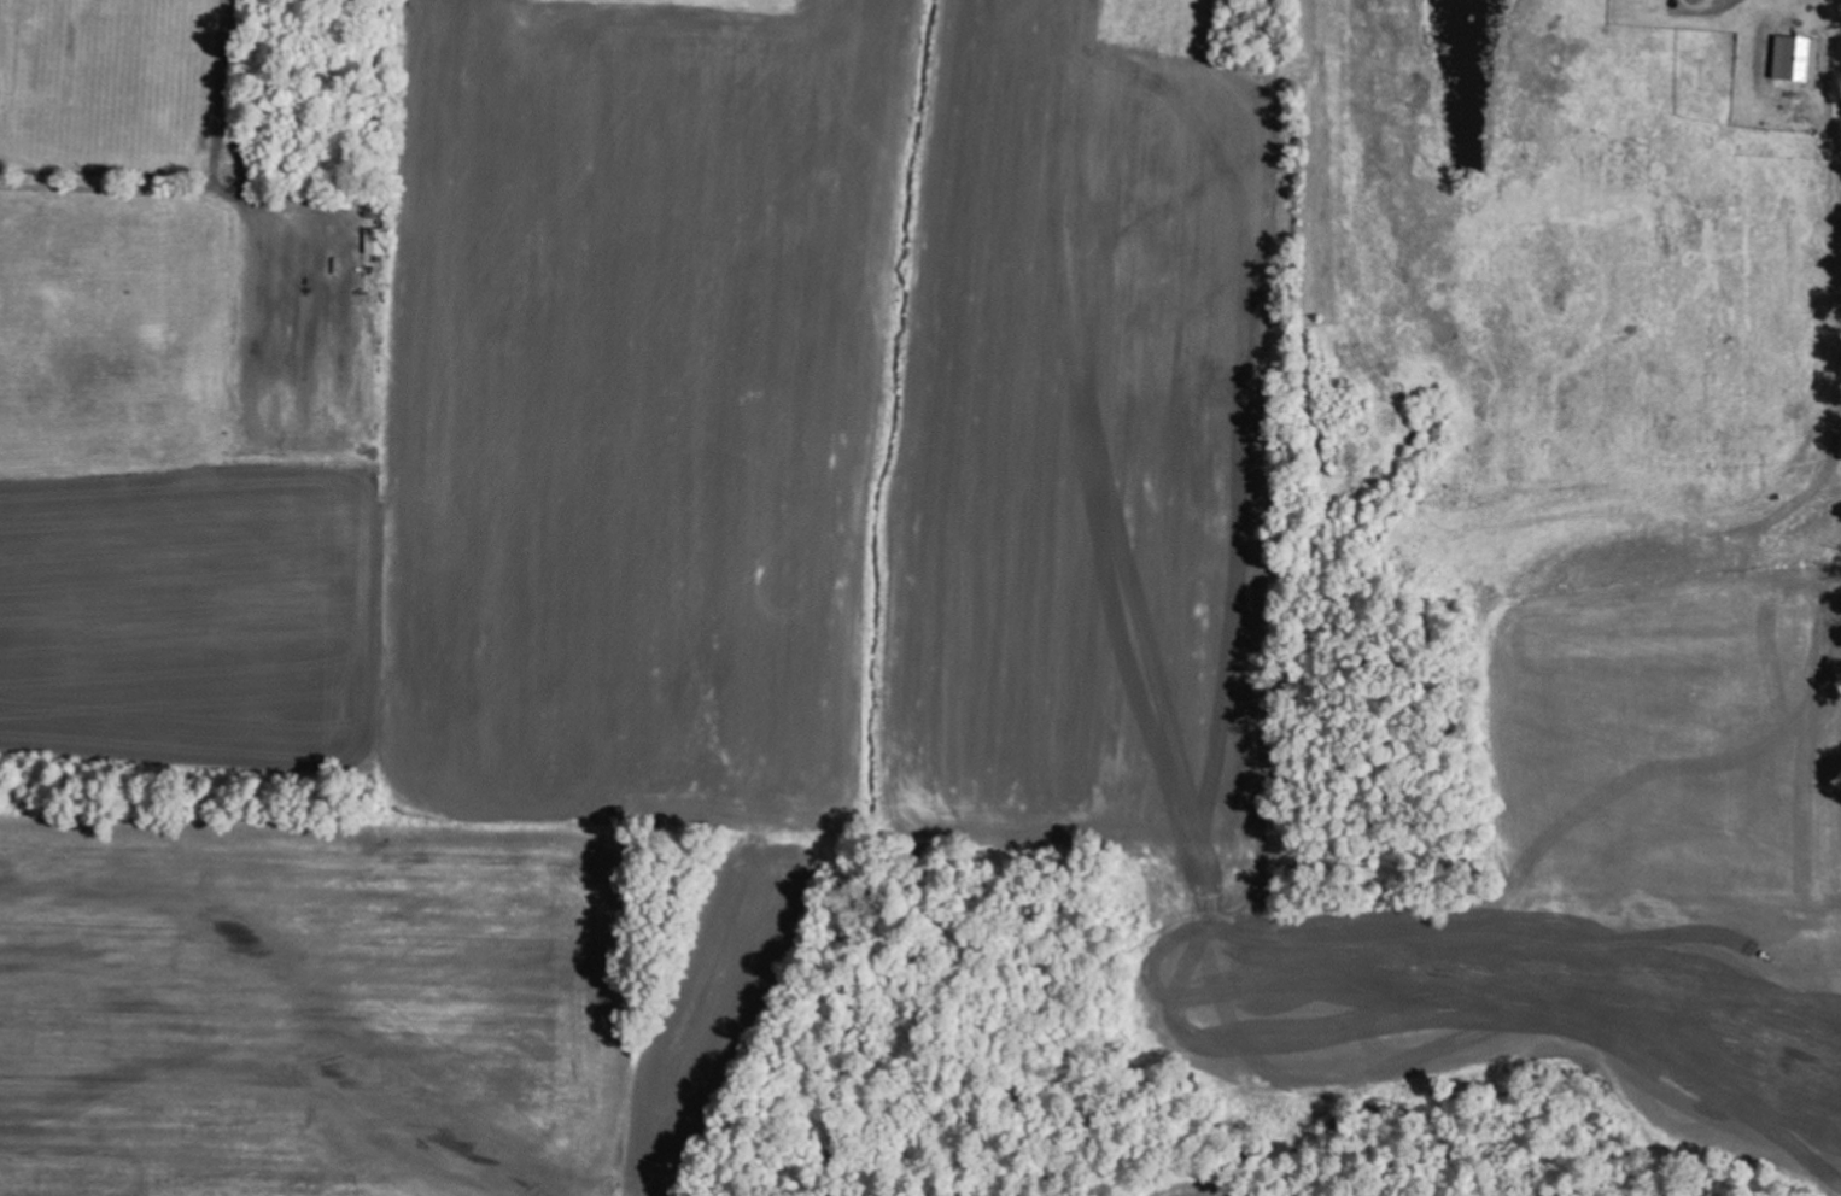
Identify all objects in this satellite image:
building: (1798, 59)
road: (37, 64)
road: (74, 81)
road: (186, 170)
road: (106, 207)
building: (378, 242)
road: (48, 310)
road: (23, 356)
park: (176, 387)
road: (201, 414)

